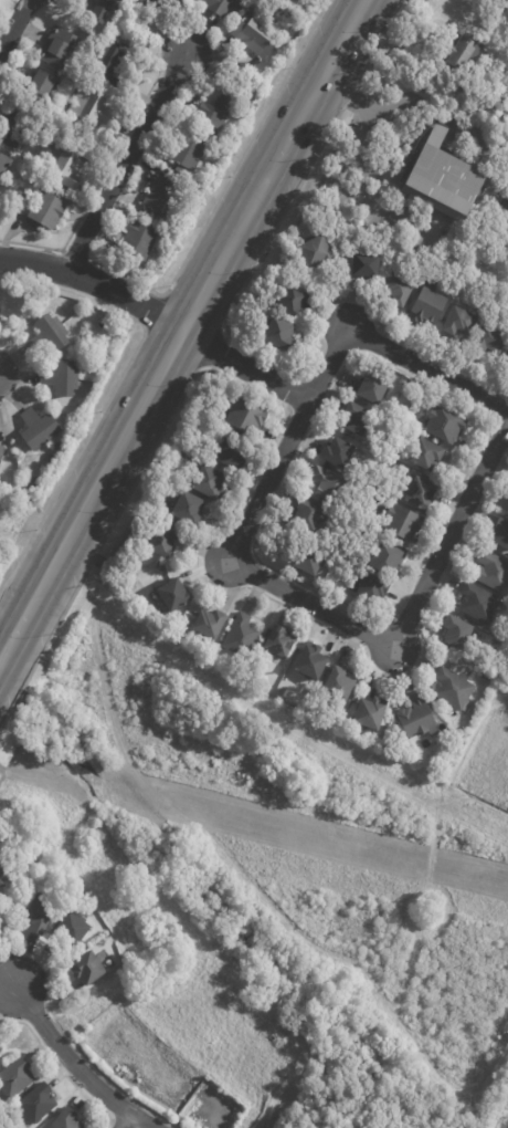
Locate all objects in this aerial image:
building: (162, 2)
building: (222, 6)
building: (100, 11)
road: (14, 25)
building: (257, 33)
building: (56, 48)
building: (459, 53)
building: (113, 63)
building: (461, 81)
building: (41, 90)
road: (357, 102)
building: (219, 107)
building: (93, 108)
building: (14, 127)
building: (188, 150)
road: (358, 157)
road: (125, 159)
building: (3, 166)
building: (64, 166)
road: (99, 179)
building: (444, 180)
road: (226, 182)
building: (0, 184)
building: (161, 197)
building: (505, 202)
building: (47, 210)
building: (170, 236)
building: (136, 238)
building: (315, 252)
road: (75, 255)
building: (366, 267)
road: (94, 281)
building: (398, 290)
building: (292, 301)
building: (427, 307)
road: (151, 311)
building: (458, 322)
road: (181, 325)
building: (49, 335)
building: (279, 335)
building: (491, 341)
road: (219, 353)
building: (507, 361)
road: (244, 365)
road: (282, 367)
road: (426, 369)
building: (61, 379)
building: (372, 390)
road: (290, 391)
road: (109, 395)
building: (245, 418)
road: (299, 418)
building: (357, 420)
building: (444, 426)
road: (498, 428)
road: (487, 429)
building: (38, 430)
building: (57, 448)
building: (1, 453)
building: (338, 455)
building: (230, 456)
building: (425, 456)
building: (51, 460)
building: (31, 484)
building: (209, 484)
building: (329, 488)
road: (246, 491)
building: (420, 495)
building: (506, 509)
building: (188, 510)
building: (309, 515)
building: (402, 524)
road: (15, 526)
building: (500, 534)
building: (161, 543)
building: (388, 561)
building: (308, 562)
building: (491, 573)
building: (371, 589)
building: (171, 596)
road: (87, 602)
road: (306, 602)
building: (478, 605)
building: (204, 622)
building: (456, 634)
building: (235, 635)
building: (277, 640)
building: (305, 659)
building: (334, 682)
building: (452, 690)
building: (284, 693)
building: (369, 716)
building: (416, 718)
road: (281, 727)
road: (472, 737)
road: (64, 766)
road: (404, 769)
road: (0, 770)
road: (437, 794)
road: (484, 806)
road: (201, 828)
building: (1, 878)
road: (419, 911)
building: (39, 917)
building: (72, 927)
building: (87, 969)
road: (88, 1009)
road: (73, 1043)
building: (0, 1048)
building: (0, 1051)
road: (72, 1064)
road: (59, 1067)
building: (15, 1078)
road: (451, 1086)
building: (38, 1103)
building: (66, 1119)
road: (147, 1119)
road: (124, 1120)
road: (116, 1122)

